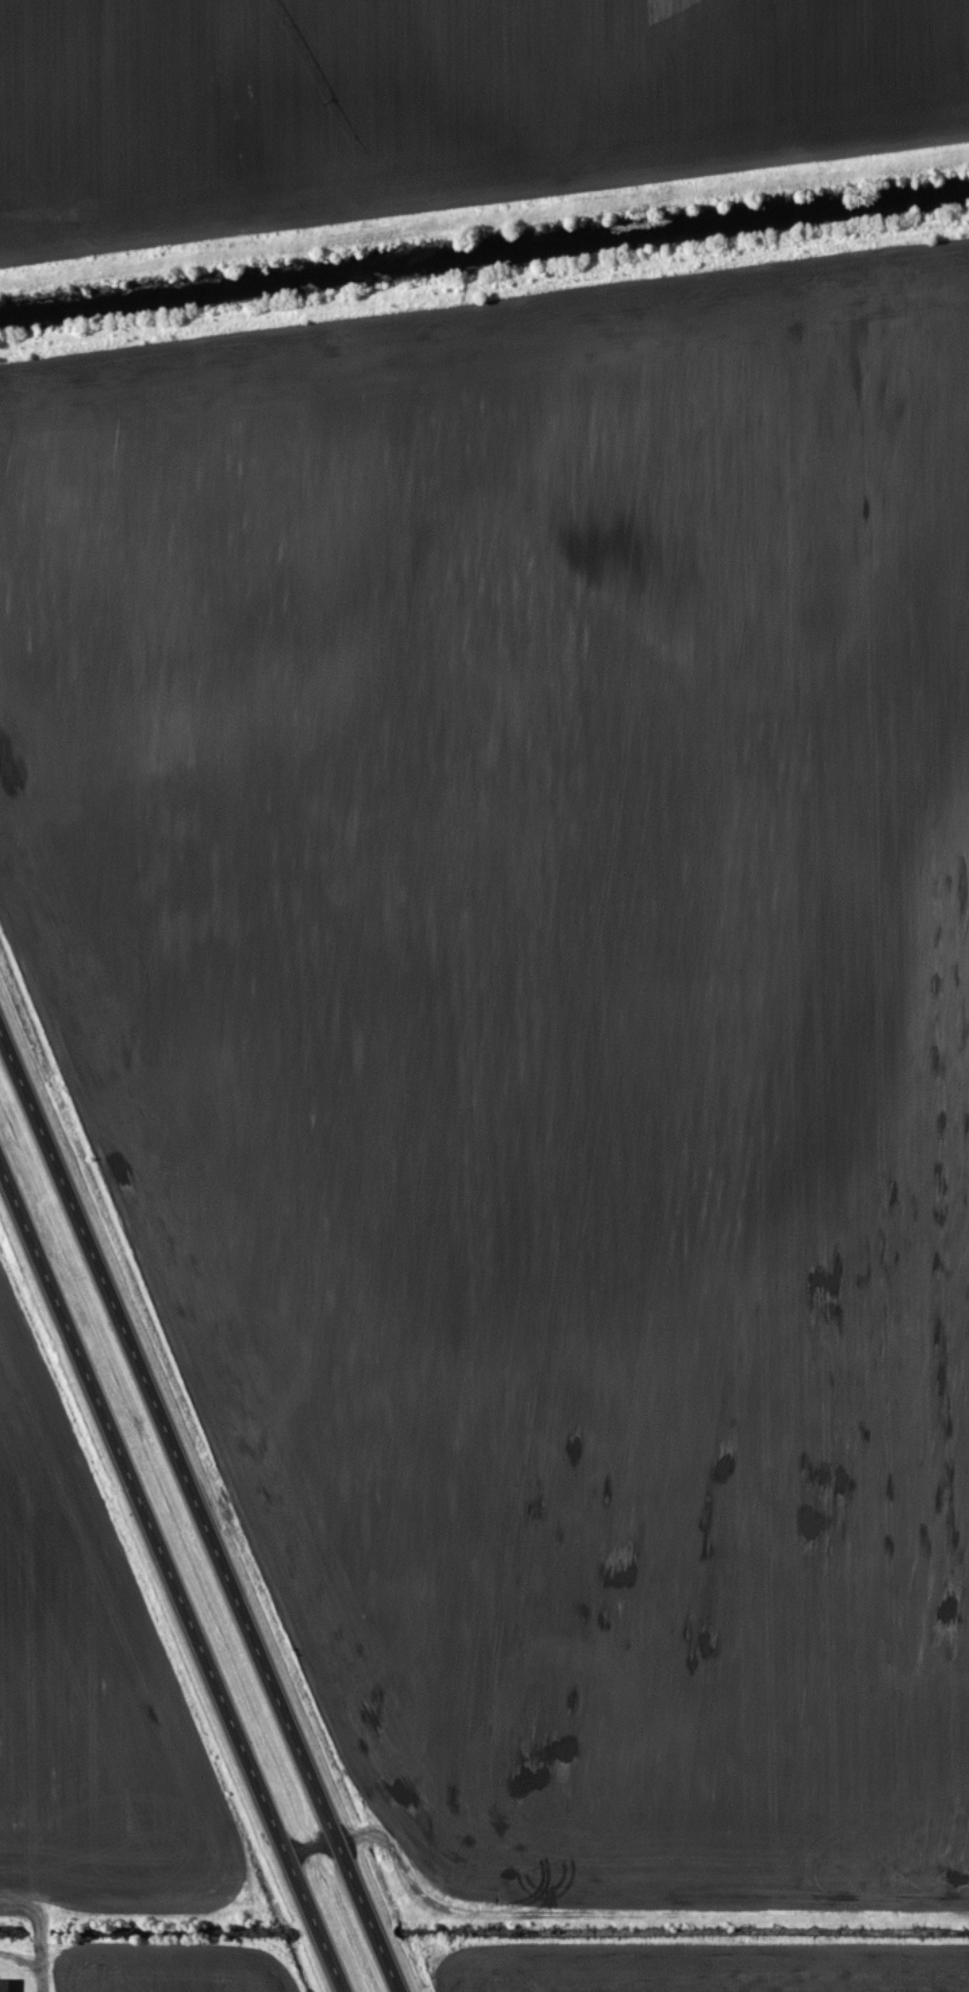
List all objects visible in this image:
road: (205, 1503)
road: (172, 1578)
road: (39, 1933)
building: (9, 1986)

